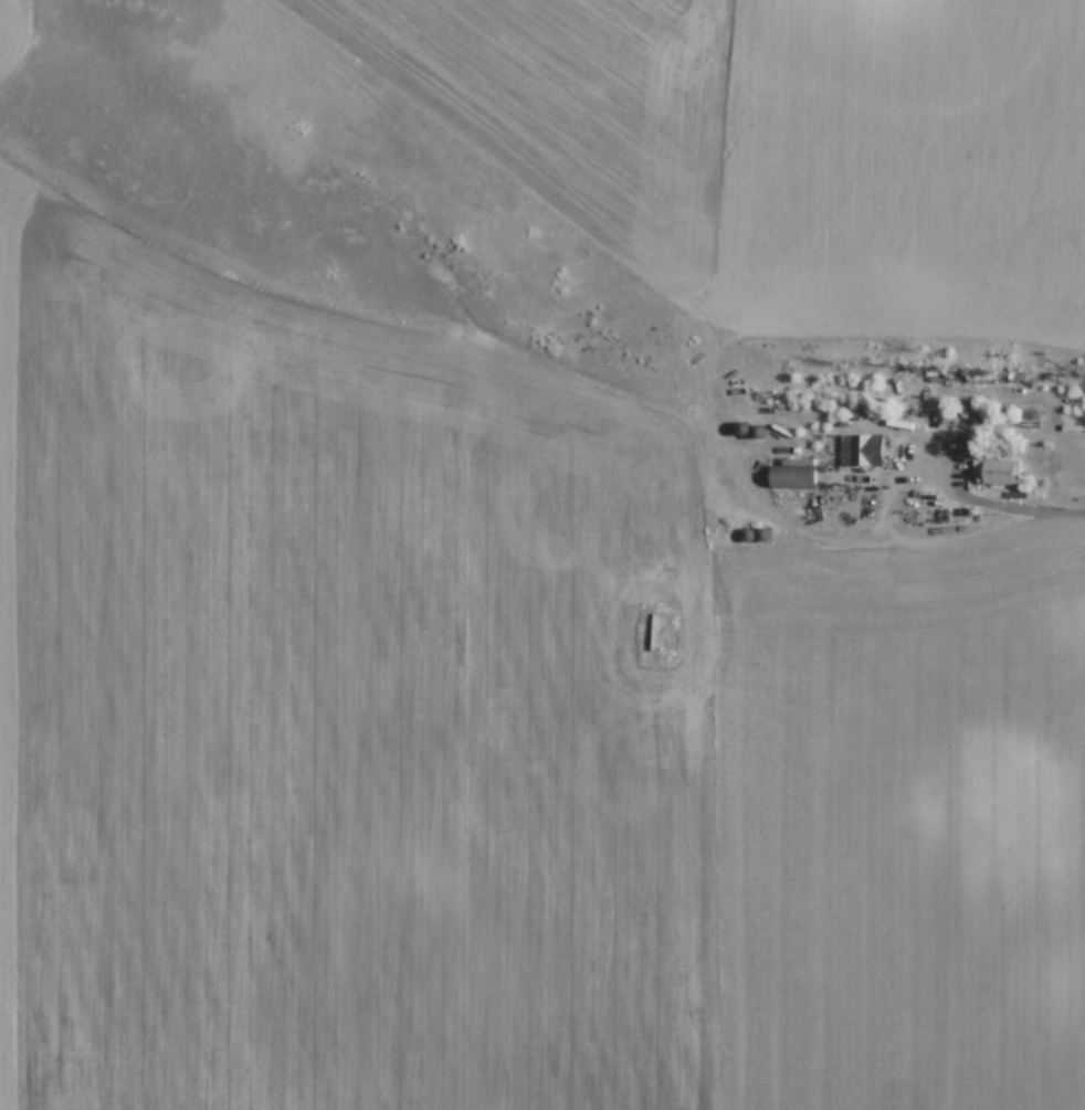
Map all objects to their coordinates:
building: (862, 448)
building: (997, 471)
building: (793, 472)
road: (1018, 505)

